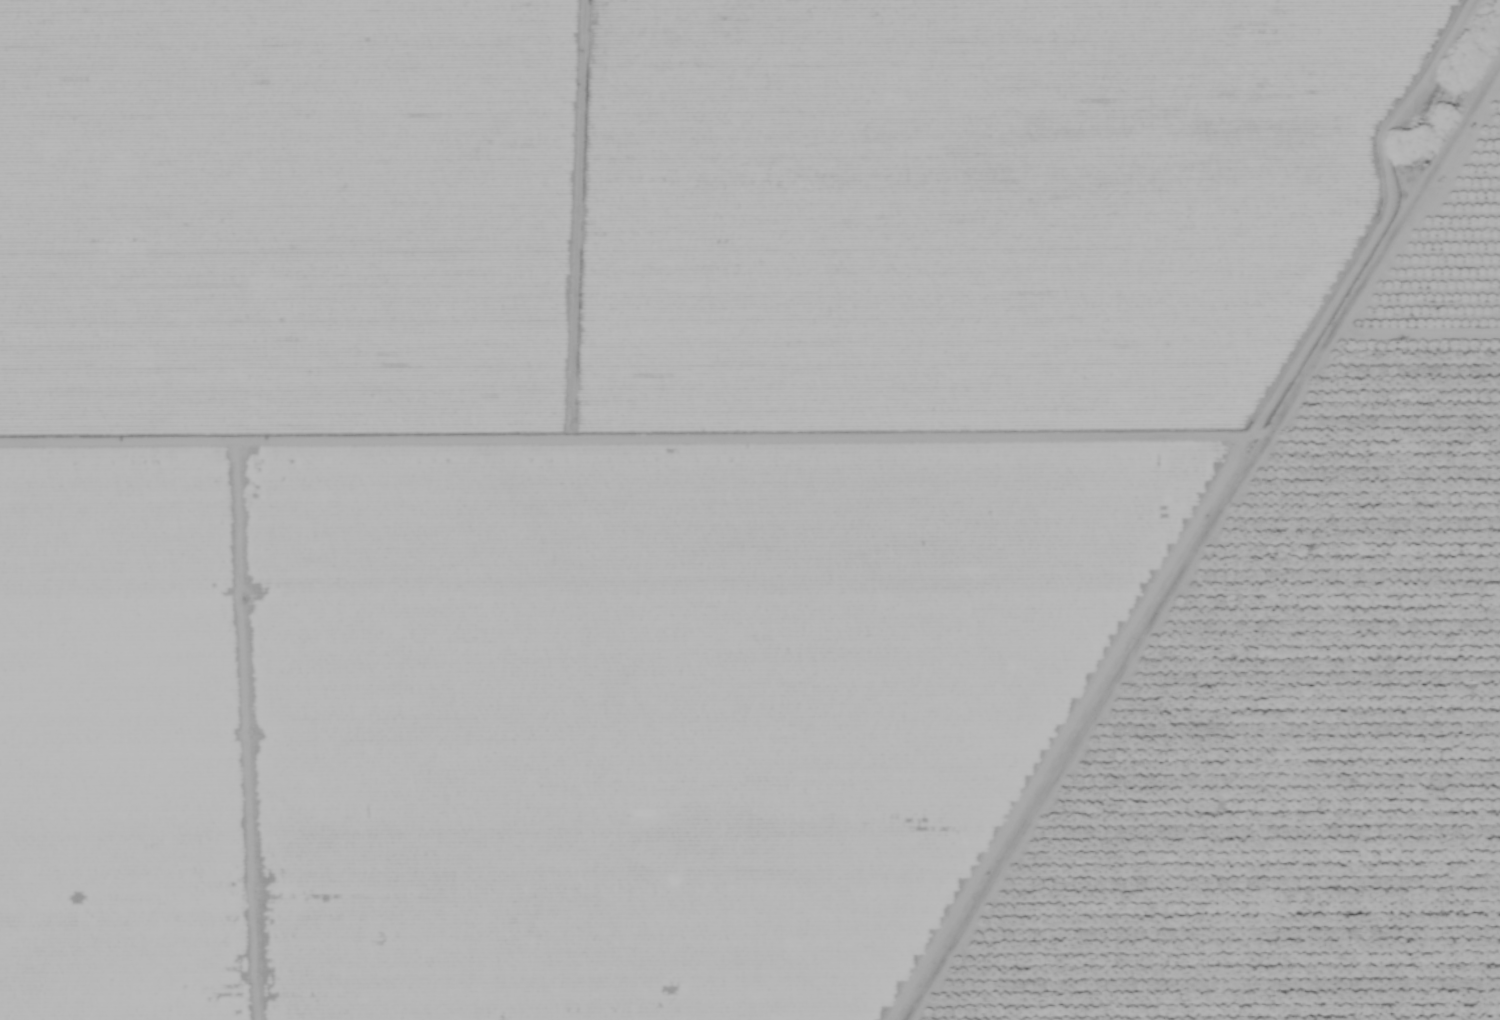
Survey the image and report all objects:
crop: (1433, 234)
crop: (613, 466)
road: (1197, 542)

